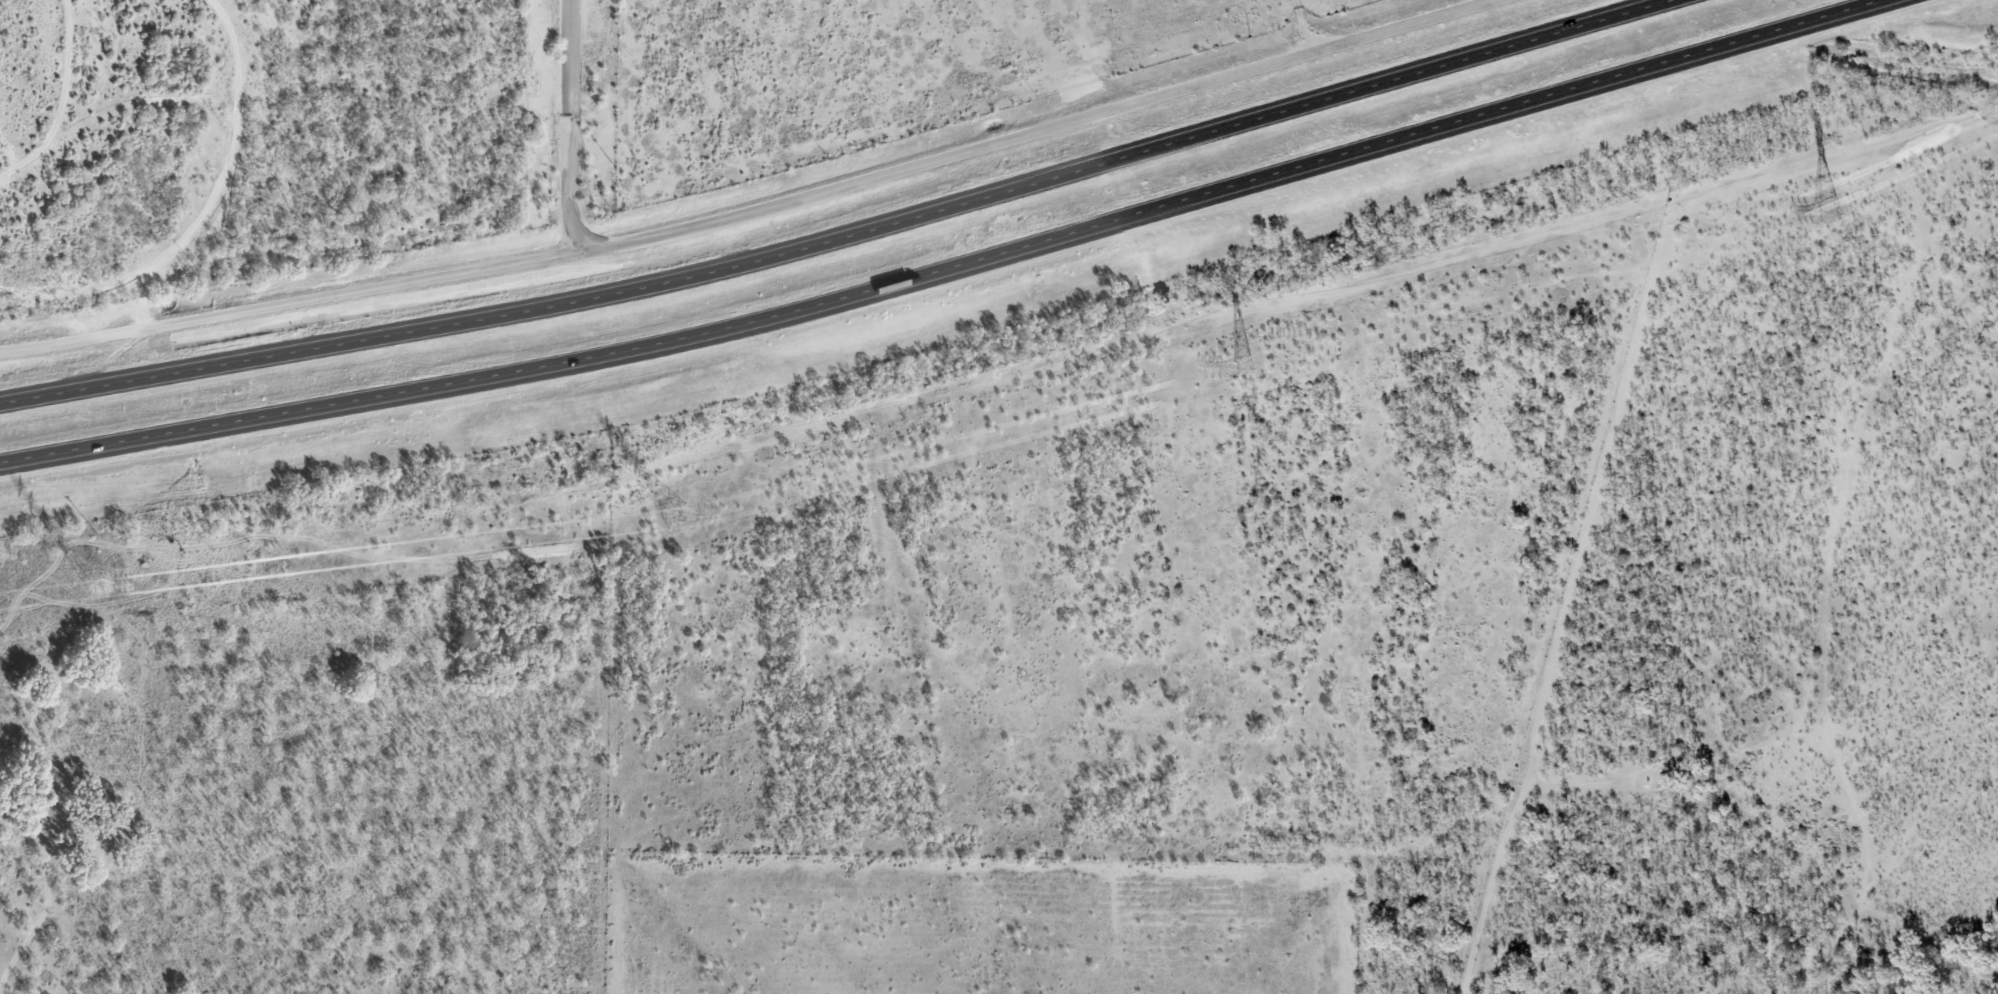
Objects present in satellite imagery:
road: (215, 182)
power tower: (1822, 210)
road: (764, 211)
road: (838, 233)
road: (956, 269)
power tower: (1232, 367)
power tower: (671, 515)
power tower: (92, 585)

